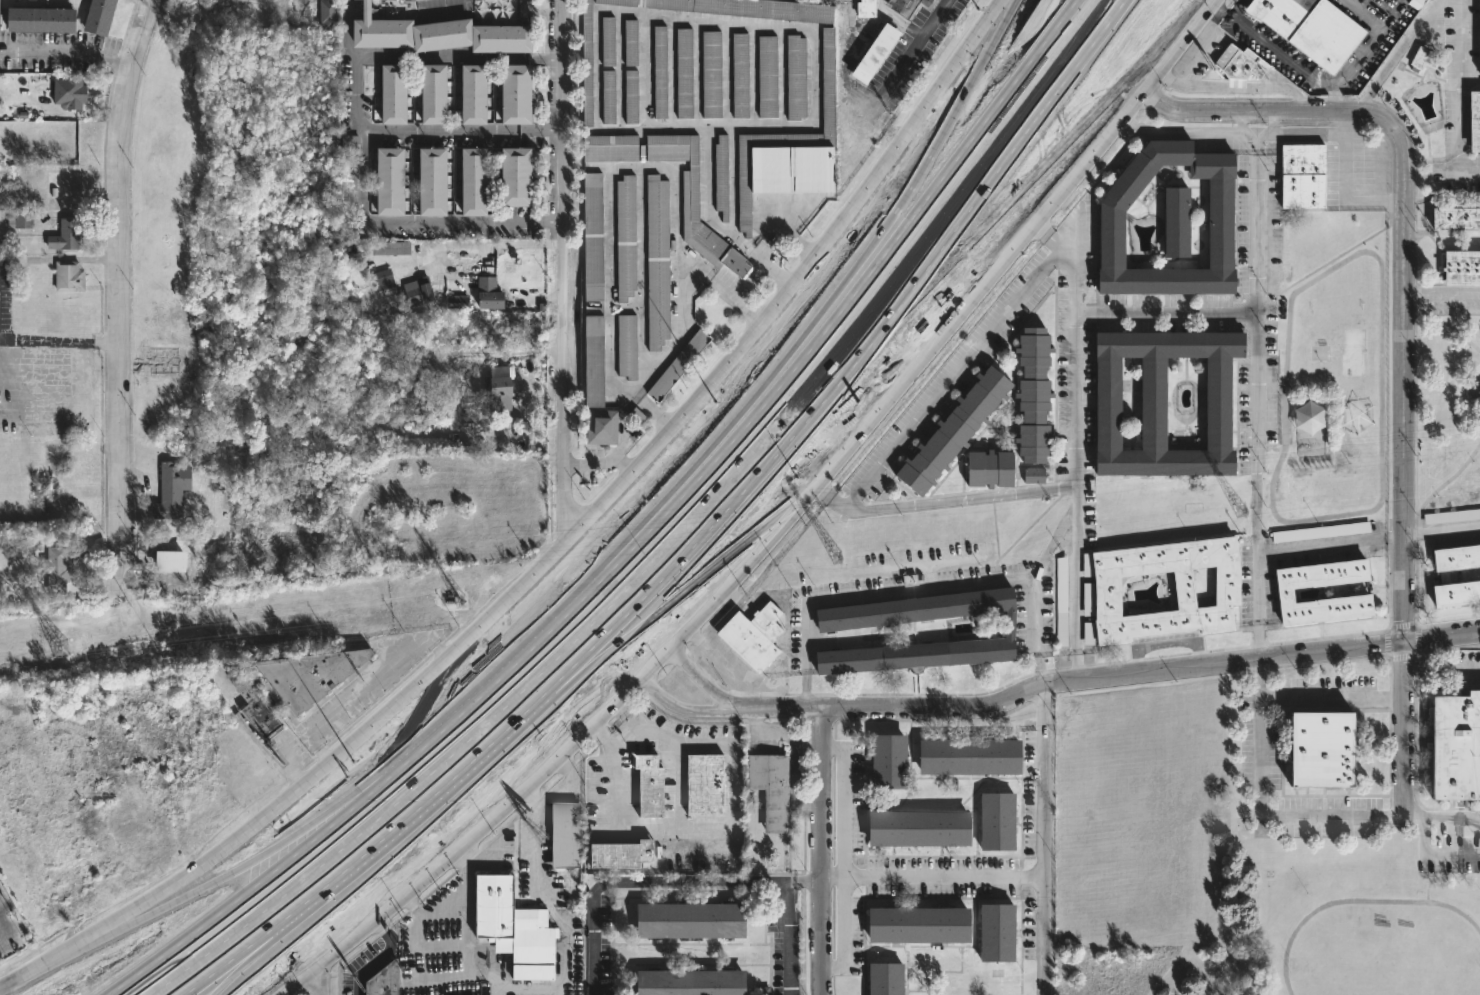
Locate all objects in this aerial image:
building: (917, 2)
road: (1022, 4)
building: (893, 6)
building: (862, 8)
road: (1219, 13)
building: (327, 15)
road: (641, 15)
building: (97, 16)
road: (884, 16)
building: (38, 19)
building: (1306, 28)
building: (438, 34)
building: (1479, 36)
building: (607, 41)
road: (1406, 41)
building: (630, 42)
road: (1272, 50)
road: (1363, 51)
road: (66, 52)
building: (870, 53)
road: (458, 58)
building: (1422, 58)
building: (1235, 65)
building: (656, 70)
building: (680, 73)
building: (707, 74)
building: (589, 75)
building: (737, 75)
building: (763, 76)
building: (792, 77)
road: (1369, 89)
building: (515, 93)
building: (76, 94)
building: (390, 94)
building: (431, 94)
building: (472, 94)
building: (630, 95)
building: (608, 96)
road: (1457, 96)
road: (875, 101)
road: (1357, 105)
road: (1080, 107)
building: (1472, 121)
road: (464, 129)
road: (1189, 131)
road: (1248, 134)
building: (347, 144)
building: (610, 148)
building: (787, 150)
building: (514, 176)
building: (718, 176)
building: (1299, 177)
building: (386, 181)
building: (470, 181)
building: (429, 182)
building: (67, 186)
building: (694, 203)
road: (358, 209)
building: (1454, 218)
building: (24, 220)
building: (1171, 222)
park: (1334, 231)
road: (788, 233)
building: (66, 235)
building: (595, 236)
building: (625, 237)
building: (1106, 239)
road: (469, 246)
road: (967, 246)
building: (387, 247)
building: (654, 262)
road: (848, 264)
road: (564, 265)
building: (1459, 268)
road: (117, 273)
building: (71, 276)
building: (404, 289)
building: (489, 294)
road: (1443, 297)
road: (850, 302)
building: (459, 304)
road: (1443, 309)
road: (1166, 313)
road: (933, 314)
road: (678, 321)
road: (1406, 329)
road: (58, 341)
building: (626, 347)
building: (597, 361)
building: (673, 366)
road: (1270, 378)
road: (1256, 387)
park: (1339, 389)
building: (502, 394)
building: (1032, 396)
park: (1451, 396)
building: (1157, 403)
building: (1353, 415)
building: (1305, 418)
building: (601, 427)
building: (951, 432)
road: (599, 461)
road: (878, 461)
building: (988, 469)
road: (1075, 471)
building: (1033, 475)
road: (1453, 477)
road: (766, 481)
road: (1390, 488)
building: (174, 490)
power tower: (1240, 508)
building: (1451, 516)
road: (778, 529)
building: (1319, 532)
road: (1443, 532)
road: (671, 538)
road: (632, 540)
road: (1331, 544)
road: (1052, 548)
road: (554, 550)
power tower: (836, 559)
building: (1454, 559)
building: (169, 561)
building: (57, 570)
road: (923, 590)
building: (1280, 592)
building: (1099, 594)
building: (1454, 594)
power tower: (450, 601)
building: (1061, 611)
building: (822, 631)
building: (748, 637)
power tower: (58, 649)
road: (1442, 667)
road: (1150, 673)
building: (313, 677)
road: (698, 679)
road: (498, 680)
road: (363, 684)
road: (1332, 698)
road: (778, 705)
road: (681, 709)
building: (258, 710)
road: (627, 716)
building: (1454, 748)
building: (1315, 749)
road: (672, 751)
building: (969, 759)
road: (285, 762)
building: (888, 764)
road: (610, 772)
building: (700, 785)
building: (644, 786)
building: (768, 789)
road: (345, 804)
park: (1156, 805)
road: (414, 809)
road: (1261, 816)
road: (1437, 816)
building: (998, 825)
building: (921, 826)
road: (646, 828)
building: (568, 834)
road: (1426, 839)
road: (1042, 841)
road: (1449, 848)
road: (819, 849)
road: (843, 850)
road: (1439, 852)
building: (621, 853)
road: (231, 871)
road: (930, 877)
road: (642, 883)
road: (807, 883)
road: (251, 892)
road: (1352, 892)
building: (683, 919)
road: (120, 922)
building: (917, 925)
building: (518, 928)
building: (997, 933)
road: (7, 934)
road: (787, 940)
park: (1378, 941)
road: (376, 957)
road: (217, 969)
road: (320, 978)
building: (885, 978)
building: (386, 980)
building: (684, 982)

